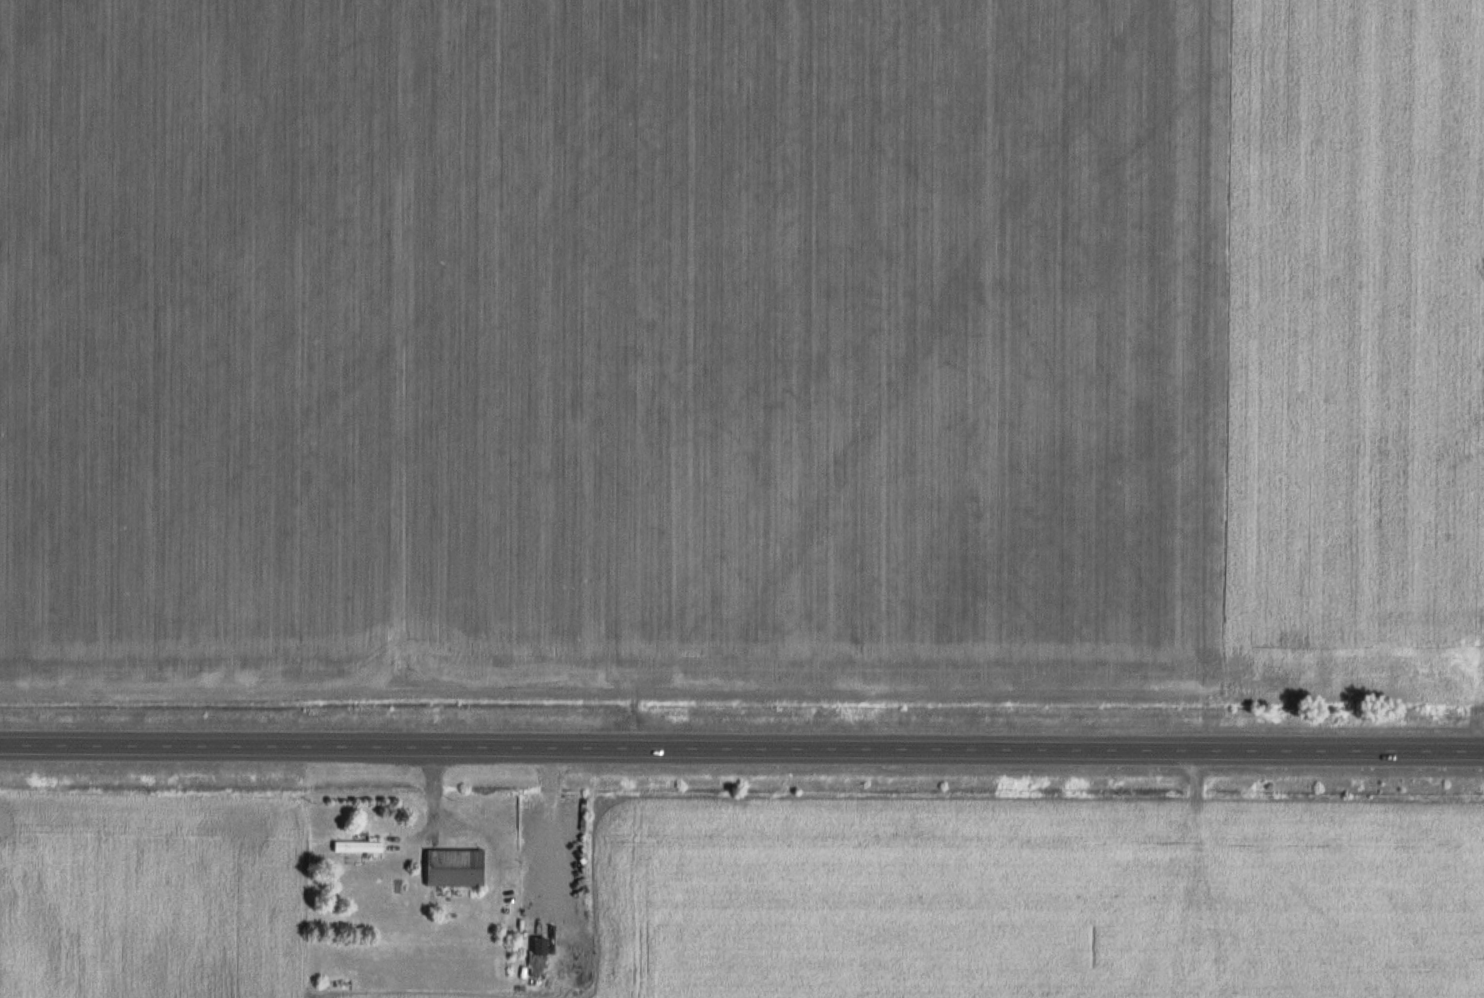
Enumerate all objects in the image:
road: (742, 749)
building: (452, 868)
building: (536, 946)

